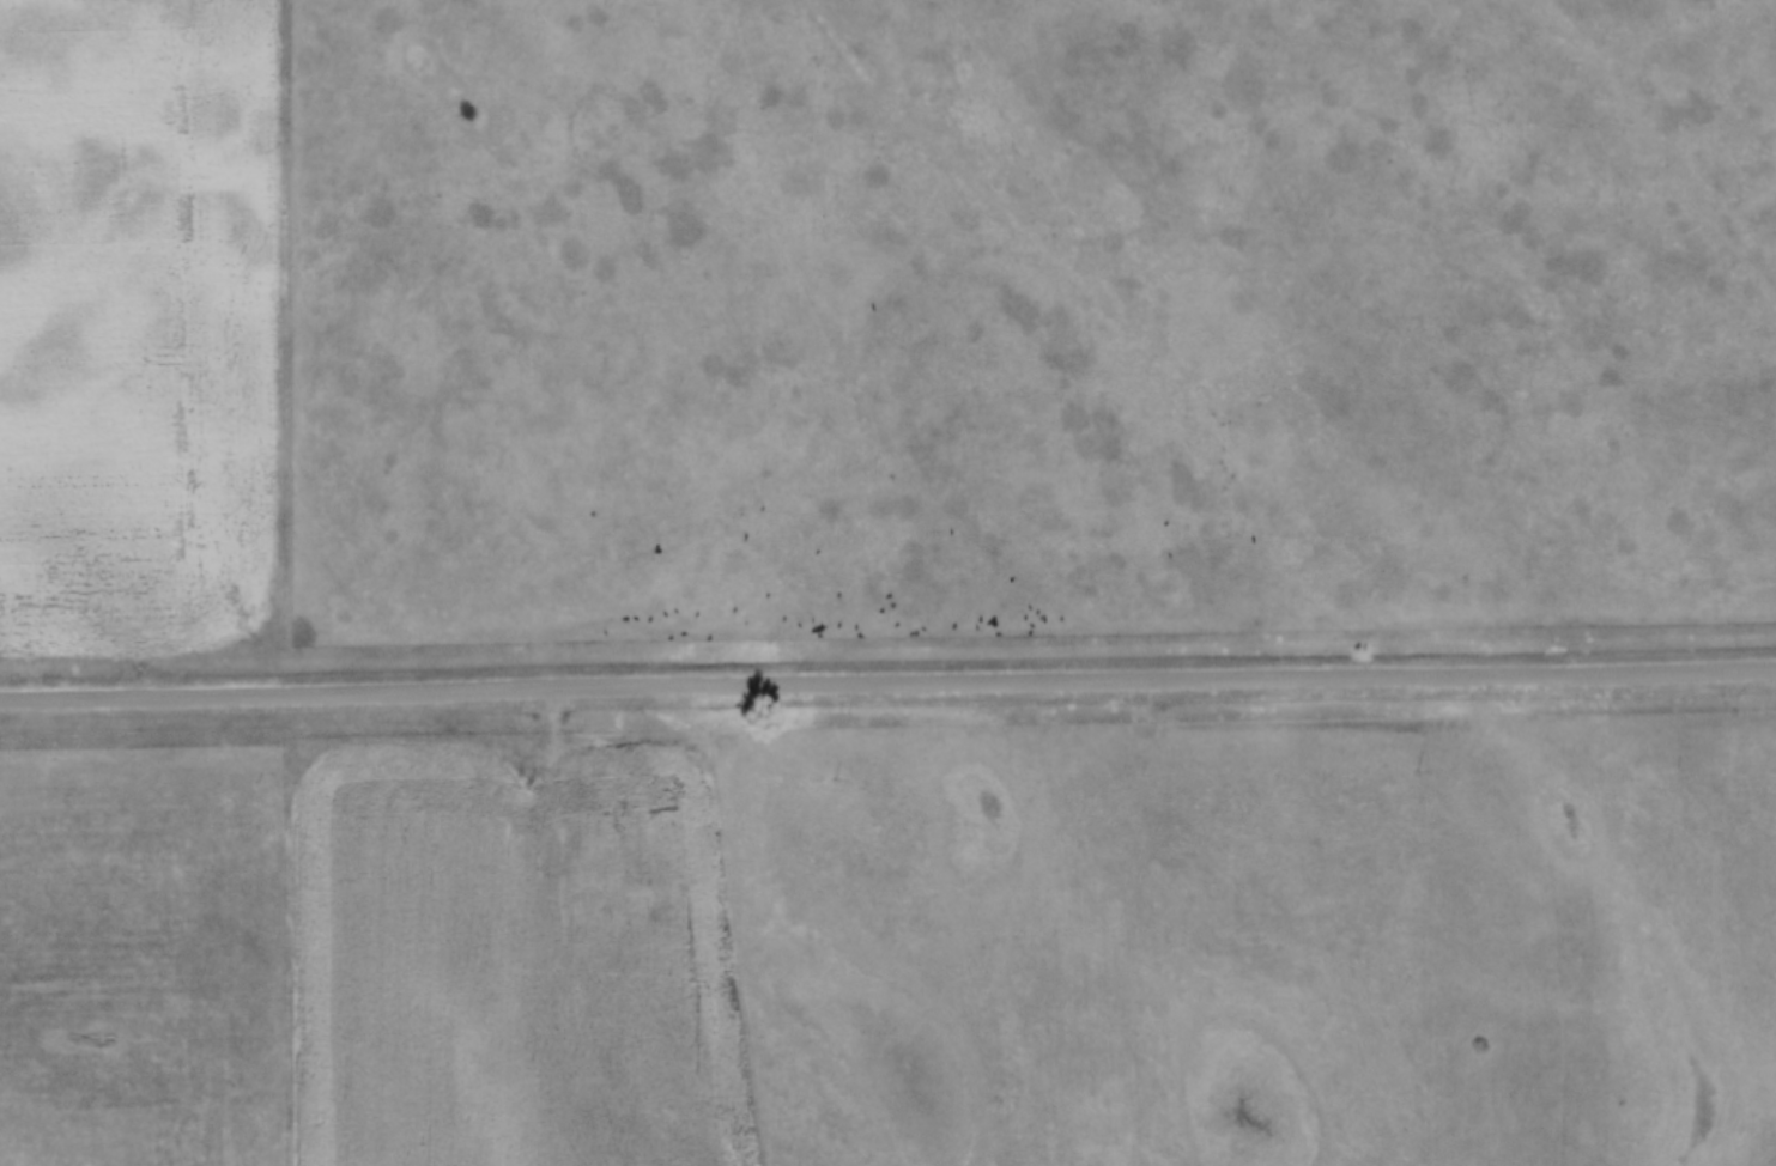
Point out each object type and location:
road: (887, 684)

